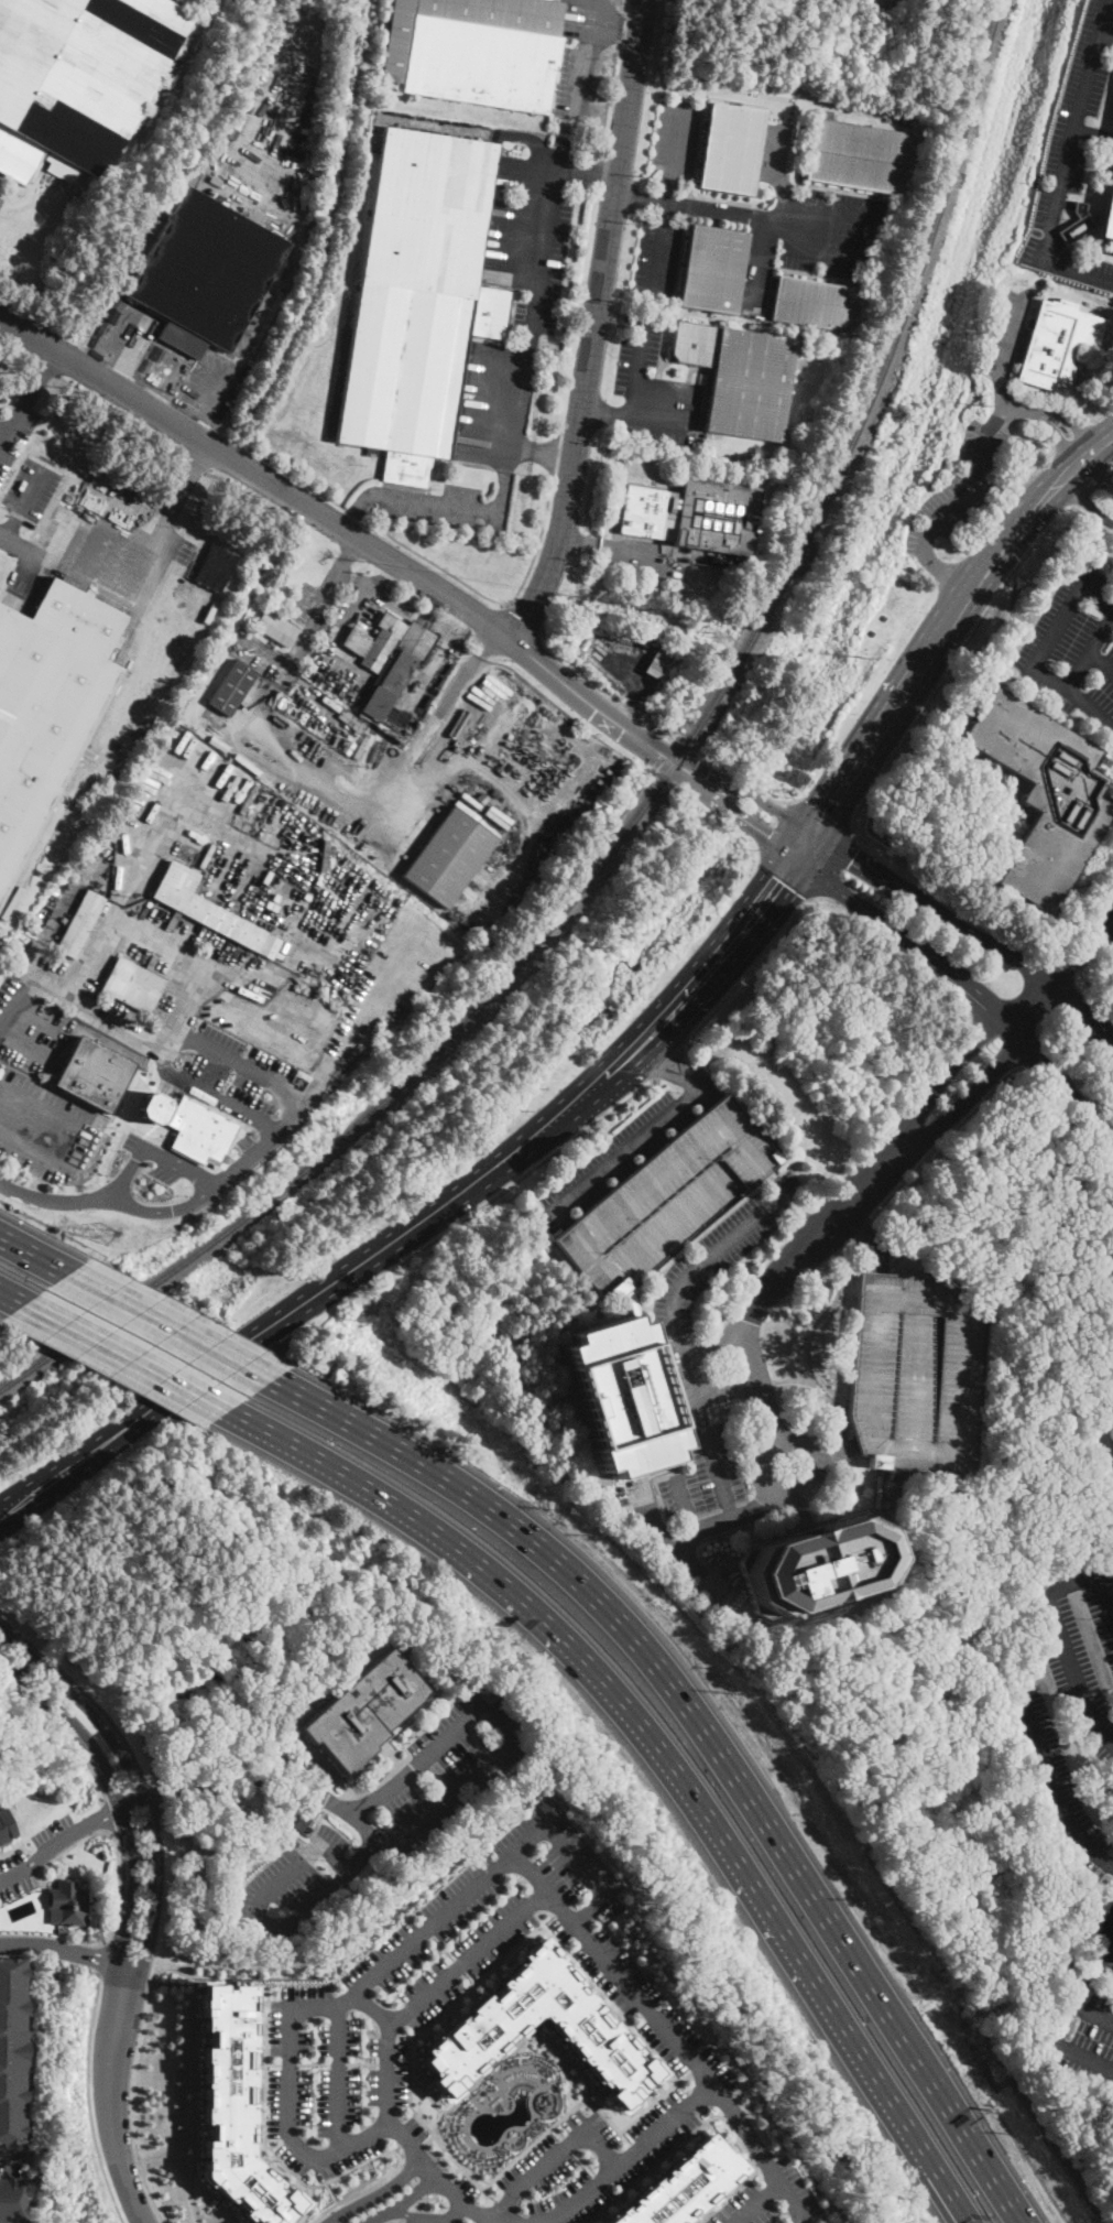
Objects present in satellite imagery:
road: (1111, 3)
railway: (363, 11)
road: (594, 23)
road: (619, 25)
railway: (382, 39)
building: (474, 51)
building: (78, 76)
road: (585, 80)
railway: (174, 83)
parking lot: (578, 83)
railway: (160, 86)
building: (906, 119)
parking lot: (677, 135)
building: (732, 147)
parking lot: (1071, 150)
building: (858, 156)
road: (1066, 159)
road: (581, 170)
road: (778, 174)
parking lot: (268, 183)
road: (664, 199)
parking lot: (1, 202)
building: (1081, 207)
road: (700, 208)
road: (830, 210)
building: (1107, 215)
railway: (360, 220)
railway: (329, 221)
road: (535, 226)
parking lot: (531, 232)
parking lot: (840, 232)
road: (819, 251)
road: (288, 257)
road: (757, 259)
parking lot: (657, 260)
building: (712, 269)
building: (206, 273)
building: (419, 301)
building: (815, 304)
road: (17, 306)
building: (756, 317)
road: (594, 325)
road: (128, 336)
building: (1057, 343)
parking lot: (138, 347)
road: (639, 347)
road: (18, 353)
road: (108, 368)
road: (46, 371)
road: (143, 375)
building: (740, 377)
road: (204, 383)
road: (138, 386)
parking lot: (210, 388)
road: (32, 391)
parking lot: (654, 395)
road: (1018, 406)
road: (604, 414)
road: (185, 419)
road: (1070, 419)
road: (122, 420)
road: (655, 420)
road: (987, 425)
road: (4, 429)
road: (510, 429)
parking lot: (14, 432)
parking lot: (976, 433)
road: (1058, 436)
road: (4, 438)
road: (541, 454)
road: (196, 466)
road: (1110, 467)
road: (283, 469)
road: (188, 473)
road: (1099, 477)
road: (1091, 487)
parking lot: (31, 488)
road: (253, 498)
road: (26, 502)
road: (1084, 502)
road: (436, 505)
parking lot: (445, 505)
road: (356, 509)
road: (353, 513)
building: (692, 516)
road: (160, 529)
road: (343, 530)
road: (580, 542)
railway: (179, 546)
road: (624, 549)
road: (76, 551)
parking lot: (629, 556)
building: (721, 560)
building: (663, 562)
building: (217, 564)
road: (388, 570)
road: (948, 575)
building: (670, 577)
road: (351, 578)
road: (1099, 595)
parking lot: (118, 597)
road: (490, 598)
building: (883, 618)
road: (1018, 619)
road: (1057, 625)
building: (276, 627)
road: (343, 628)
parking lot: (335, 633)
building: (872, 633)
parking lot: (243, 637)
building: (389, 641)
parking lot: (1073, 648)
road: (1090, 650)
road: (439, 654)
road: (1101, 661)
road: (290, 666)
road: (950, 666)
building: (397, 672)
road: (634, 680)
building: (232, 688)
road: (1074, 695)
building: (280, 701)
road: (445, 704)
building: (47, 707)
road: (243, 715)
building: (352, 719)
road: (485, 742)
building: (218, 744)
building: (361, 746)
building: (349, 747)
building: (247, 762)
road: (428, 767)
road: (746, 793)
building: (1041, 794)
road: (560, 796)
building: (483, 799)
railway: (647, 802)
road: (393, 812)
road: (733, 812)
traffic signals: (829, 814)
road: (821, 817)
road: (771, 824)
traffic signals: (767, 837)
building: (449, 857)
traffic signals: (853, 857)
road: (832, 866)
road: (785, 875)
traffic signals: (779, 879)
road: (230, 890)
building: (204, 907)
road: (113, 910)
road: (371, 912)
road: (320, 920)
building: (80, 923)
road: (968, 928)
parking lot: (359, 929)
parking lot: (1099, 930)
road: (1099, 933)
road: (1106, 936)
building: (163, 940)
building: (270, 946)
road: (1069, 965)
road: (971, 984)
building: (133, 985)
road: (264, 993)
road: (1034, 1002)
road: (185, 1004)
road: (709, 1016)
road: (7, 1028)
road: (28, 1039)
parking lot: (36, 1039)
road: (680, 1040)
road: (630, 1050)
road: (680, 1050)
road: (668, 1060)
road: (952, 1066)
road: (647, 1073)
road: (657, 1073)
building: (94, 1074)
road: (258, 1074)
road: (978, 1089)
road: (203, 1092)
road: (700, 1094)
building: (155, 1107)
parking lot: (45, 1130)
building: (200, 1130)
road: (80, 1134)
parking lot: (629, 1148)
road: (630, 1150)
parking lot: (159, 1158)
road: (173, 1161)
road: (124, 1176)
road: (503, 1189)
road: (782, 1190)
road: (521, 1191)
road: (20, 1192)
building: (669, 1200)
parking lot: (669, 1200)
road: (76, 1202)
road: (164, 1207)
building: (892, 1214)
road: (805, 1219)
road: (604, 1226)
road: (874, 1230)
parking lot: (721, 1251)
road: (34, 1255)
road: (782, 1265)
road: (14, 1294)
road: (171, 1327)
road: (676, 1334)
road: (713, 1341)
road: (133, 1356)
railway: (24, 1370)
building: (915, 1371)
parking lot: (915, 1371)
road: (915, 1381)
road: (728, 1391)
building: (621, 1396)
parking lot: (1103, 1428)
road: (1104, 1430)
road: (775, 1435)
road: (949, 1447)
road: (837, 1452)
parking lot: (706, 1472)
road: (685, 1505)
road: (730, 1516)
road: (669, 1542)
building: (818, 1565)
road: (1057, 1626)
parking lot: (1079, 1636)
road: (23, 1662)
building: (363, 1712)
road: (61, 1731)
road: (712, 1739)
road: (667, 1755)
road: (418, 1761)
road: (129, 1764)
road: (252, 1775)
road: (109, 1781)
parking lot: (1059, 1785)
road: (1055, 1788)
road: (335, 1802)
building: (550, 1809)
road: (107, 1814)
parking lot: (382, 1818)
building: (299, 1821)
building: (4, 1824)
road: (367, 1830)
road: (68, 1833)
road: (15, 1846)
parking lot: (33, 1855)
road: (335, 1856)
road: (580, 1858)
road: (363, 1859)
road: (118, 1867)
road: (66, 1874)
building: (65, 1905)
road: (454, 1907)
road: (1104, 1947)
road: (64, 1949)
road: (440, 1949)
road: (123, 1955)
road: (100, 1958)
road: (135, 1959)
building: (1061, 1959)
road: (457, 1966)
road: (616, 1969)
road: (467, 1978)
parking lot: (433, 1988)
road: (1073, 1995)
road: (612, 2000)
road: (1091, 2014)
parking lot: (1084, 2032)
road: (414, 2035)
building: (474, 2036)
building: (13, 2049)
road: (1083, 2056)
road: (385, 2062)
road: (401, 2062)
road: (272, 2063)
road: (287, 2063)
road: (312, 2063)
road: (337, 2063)
road: (361, 2063)
road: (287, 2073)
road: (336, 2080)
parking lot: (331, 2082)
road: (192, 2083)
road: (131, 2095)
road: (106, 2096)
road: (85, 2097)
road: (656, 2101)
building: (236, 2107)
road: (265, 2108)
road: (162, 2115)
road: (708, 2118)
road: (552, 2127)
road: (749, 2134)
road: (428, 2138)
road: (390, 2149)
road: (412, 2151)
road: (557, 2156)
parking lot: (14, 2157)
parking lot: (630, 2157)
road: (11, 2158)
road: (406, 2170)
road: (455, 2170)
road: (415, 2180)
road: (440, 2183)
building: (680, 2183)
parking lot: (465, 2188)
road: (422, 2190)
road: (377, 2195)
building: (11, 2199)
parking lot: (770, 2199)
road: (402, 2200)
road: (422, 2200)
road: (790, 2203)
road: (759, 2204)
road: (321, 2211)
road: (477, 2212)
road: (404, 2213)
road: (430, 2217)
parking lot: (433, 2217)
road: (393, 2221)
road: (472, 2221)

